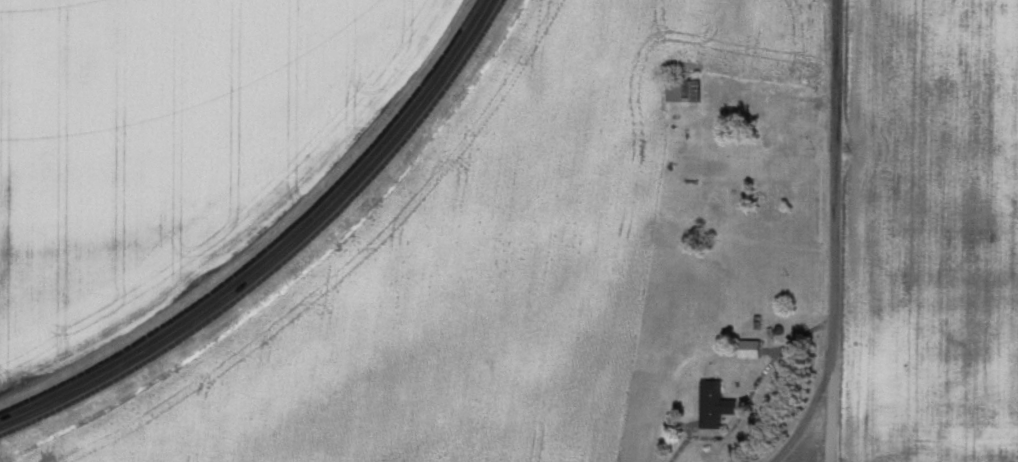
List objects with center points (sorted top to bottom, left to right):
road: (838, 230)
road: (278, 251)
building: (713, 396)
road: (812, 418)

